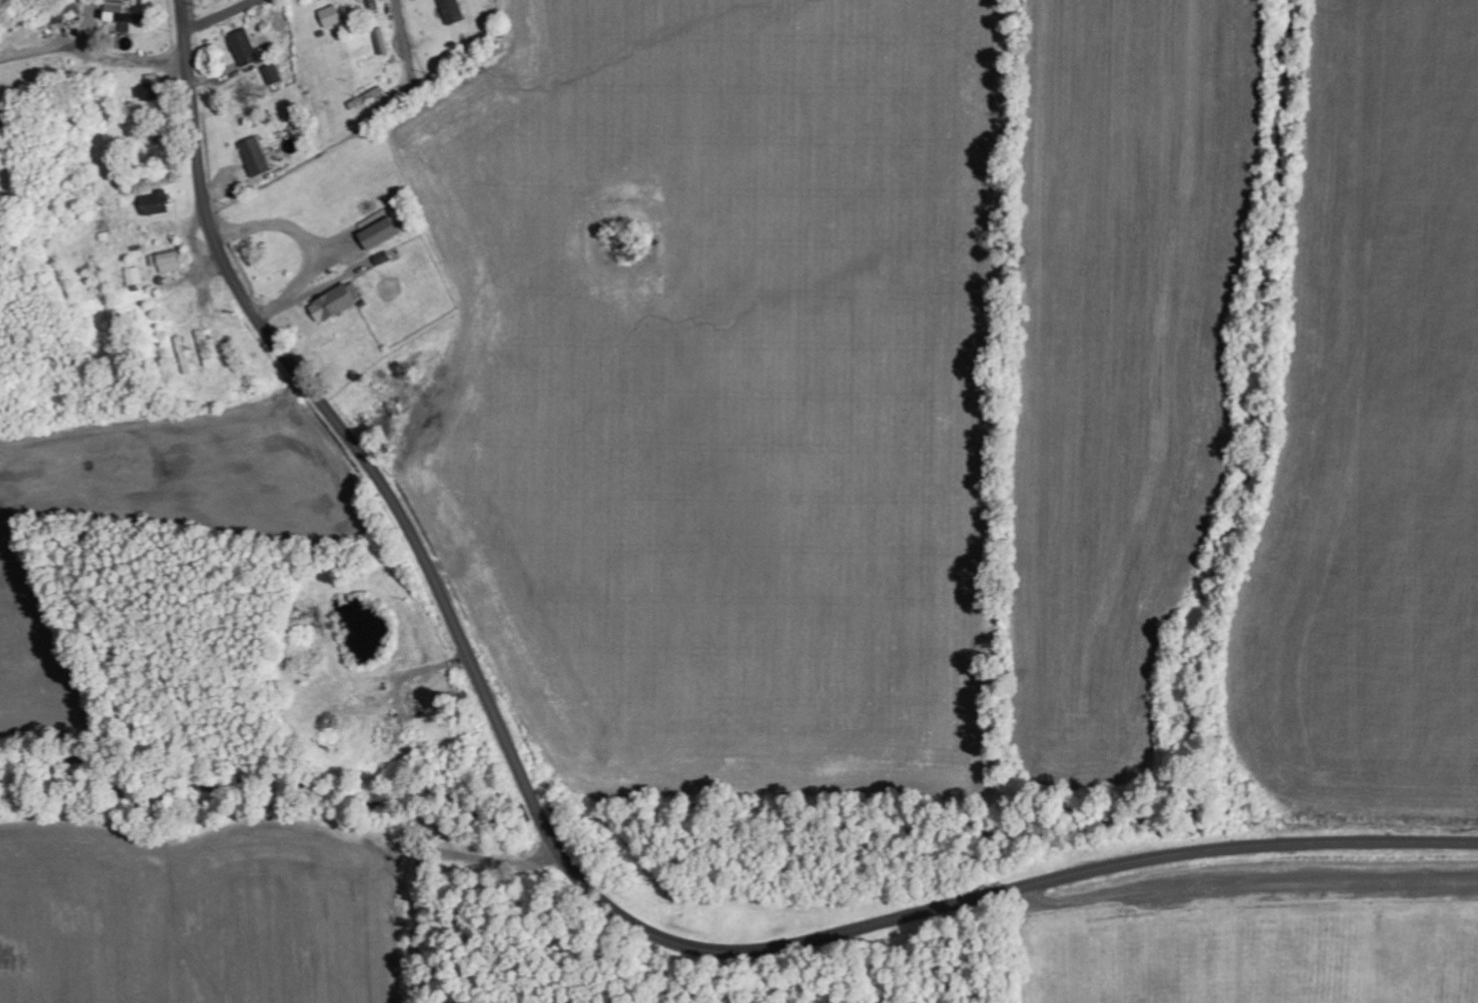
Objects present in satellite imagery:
building: (113, 9)
building: (452, 10)
road: (220, 15)
building: (330, 16)
road: (403, 44)
building: (245, 48)
building: (272, 73)
road: (92, 79)
building: (255, 156)
building: (154, 203)
building: (379, 234)
building: (167, 262)
building: (134, 276)
building: (336, 302)
road: (324, 506)
road: (566, 857)
park: (1278, 944)
road: (1476, 965)

